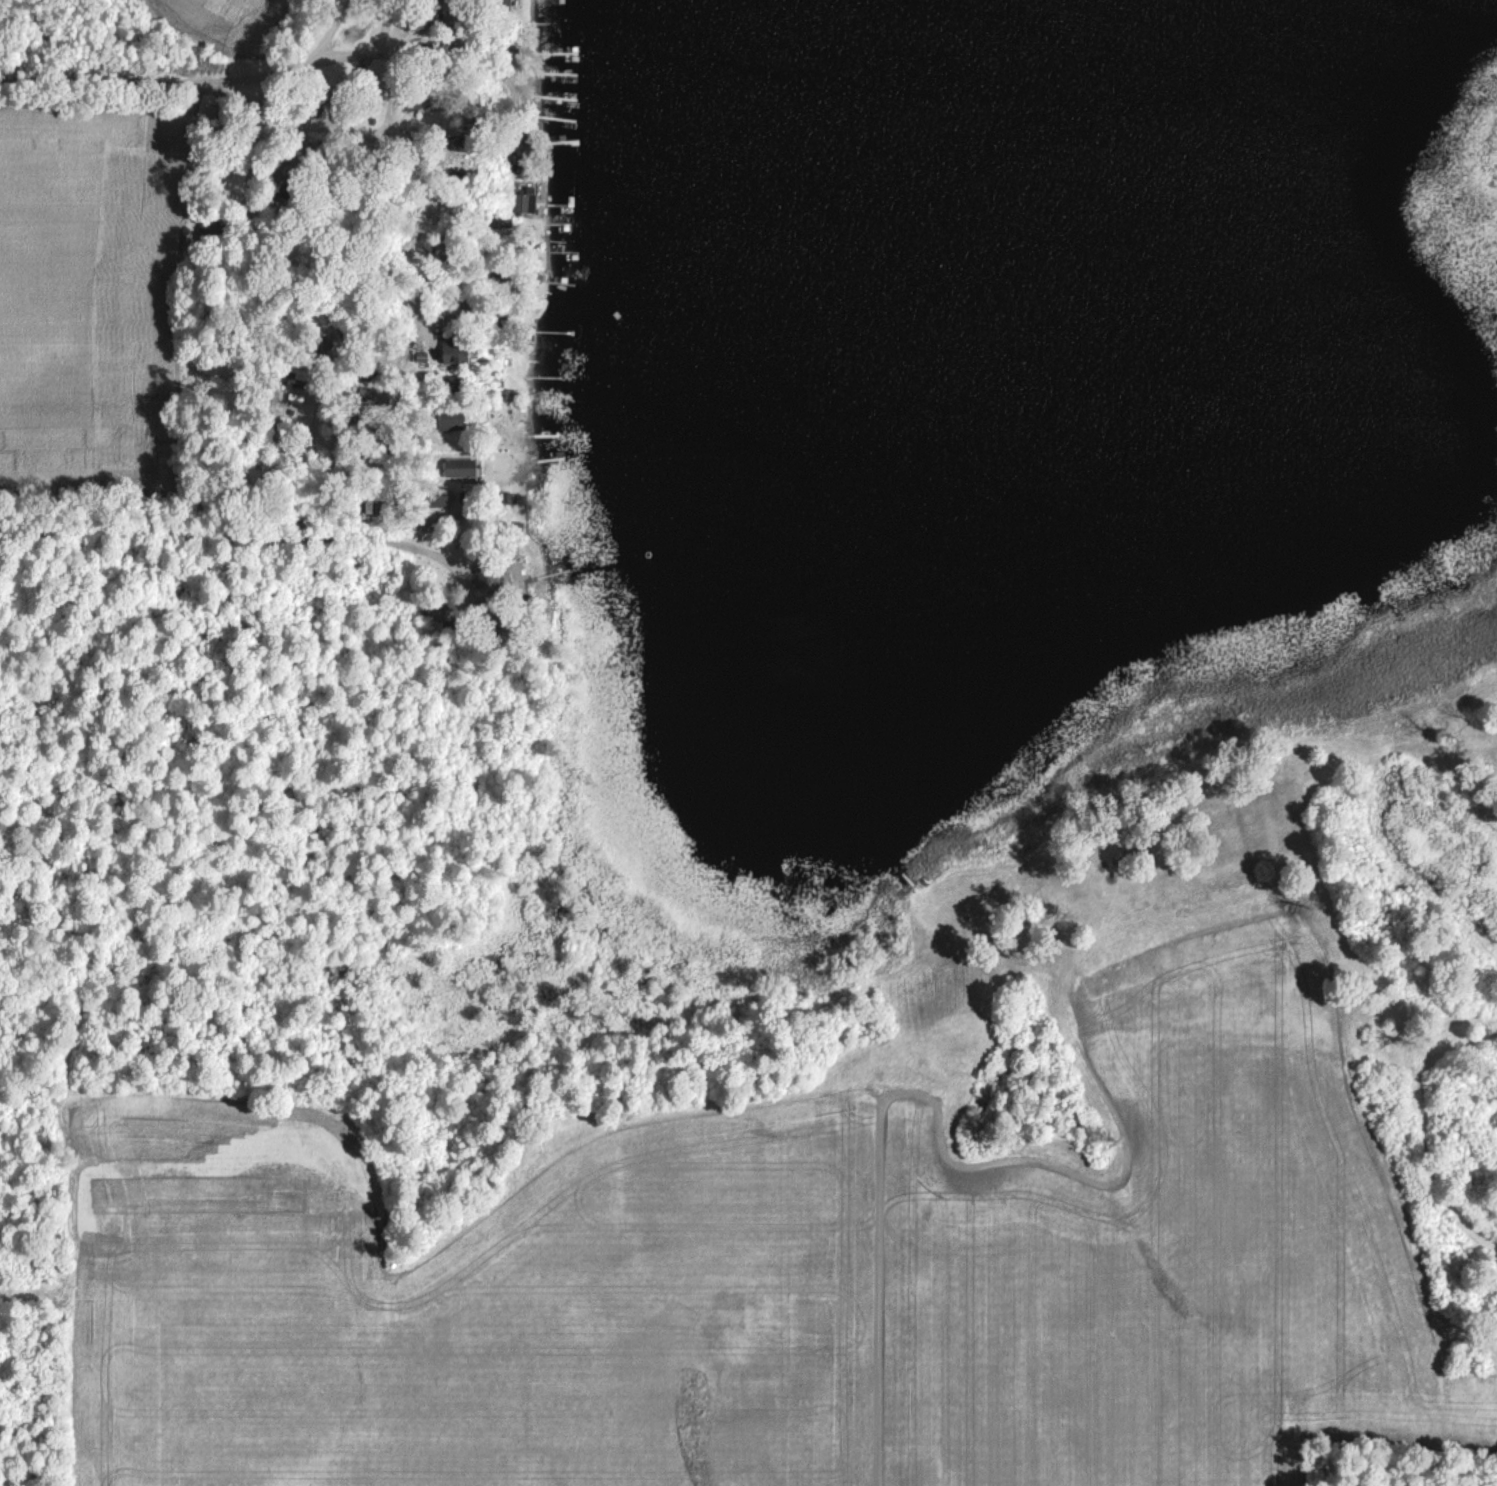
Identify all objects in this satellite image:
building: (502, 4)
building: (423, 17)
road: (383, 30)
road: (330, 31)
road: (283, 62)
building: (413, 99)
building: (214, 113)
road: (370, 194)
building: (521, 201)
building: (500, 219)
building: (209, 230)
building: (443, 250)
building: (457, 303)
building: (452, 383)
building: (446, 417)
building: (458, 466)
building: (233, 488)
building: (434, 494)
road: (391, 520)
road: (227, 533)
building: (436, 607)

